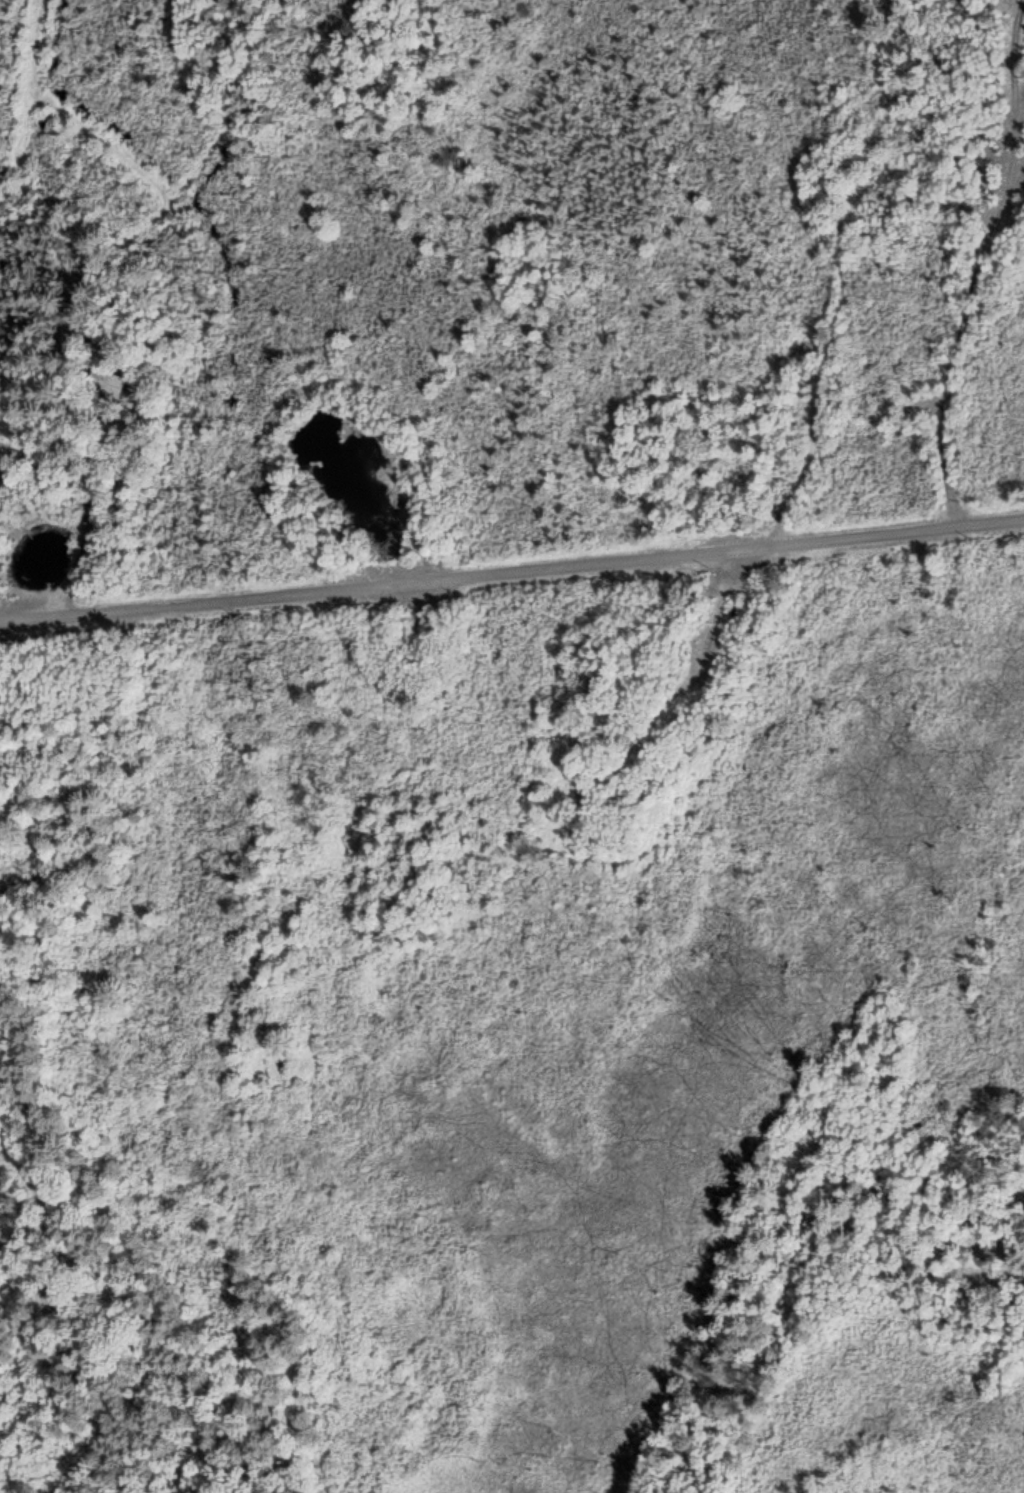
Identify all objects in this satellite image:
road: (976, 262)
building: (108, 382)
road: (87, 527)
road: (512, 572)

